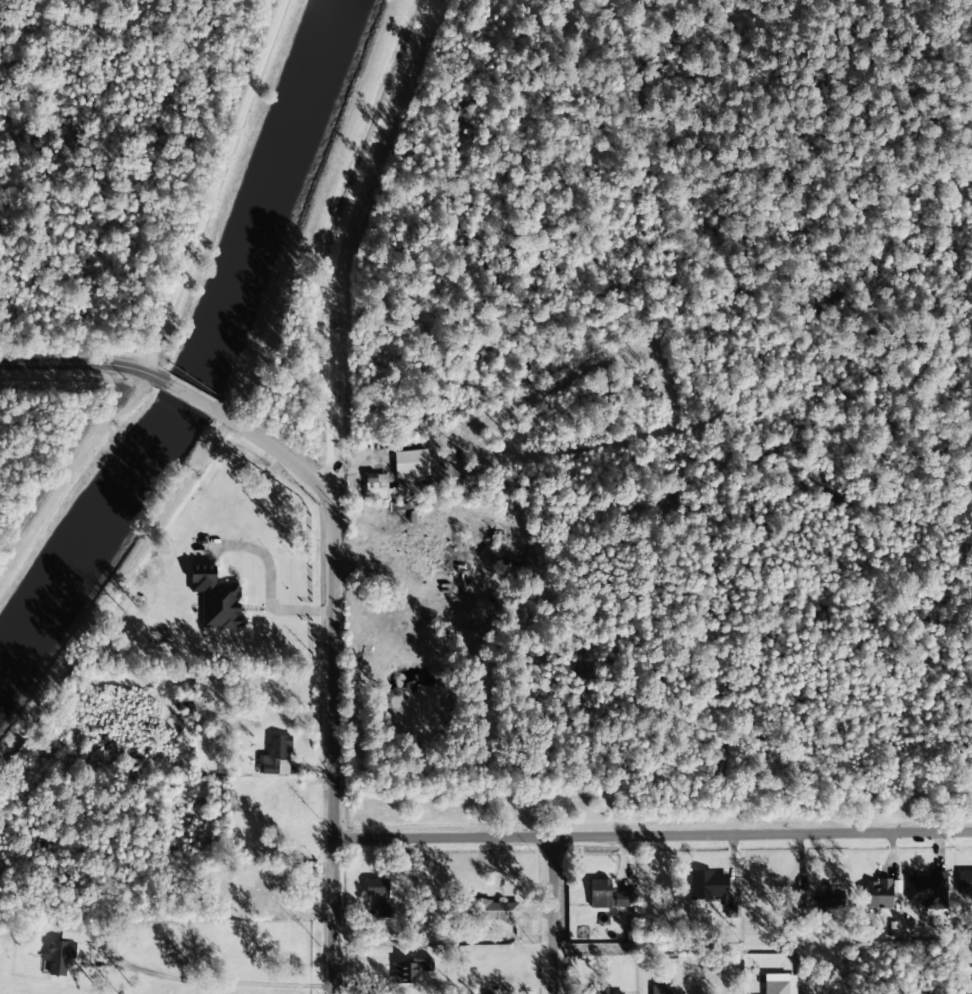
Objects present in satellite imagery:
road: (77, 361)
road: (190, 395)
road: (274, 450)
road: (321, 488)
building: (379, 488)
building: (463, 586)
building: (217, 599)
building: (276, 756)
road: (653, 834)
building: (964, 882)
building: (709, 886)
building: (927, 890)
building: (878, 893)
building: (605, 895)
building: (379, 896)
building: (821, 899)
building: (496, 910)
road: (553, 914)
building: (59, 956)
building: (411, 970)
building: (778, 984)
building: (968, 989)
building: (620, 993)
building: (669, 993)

